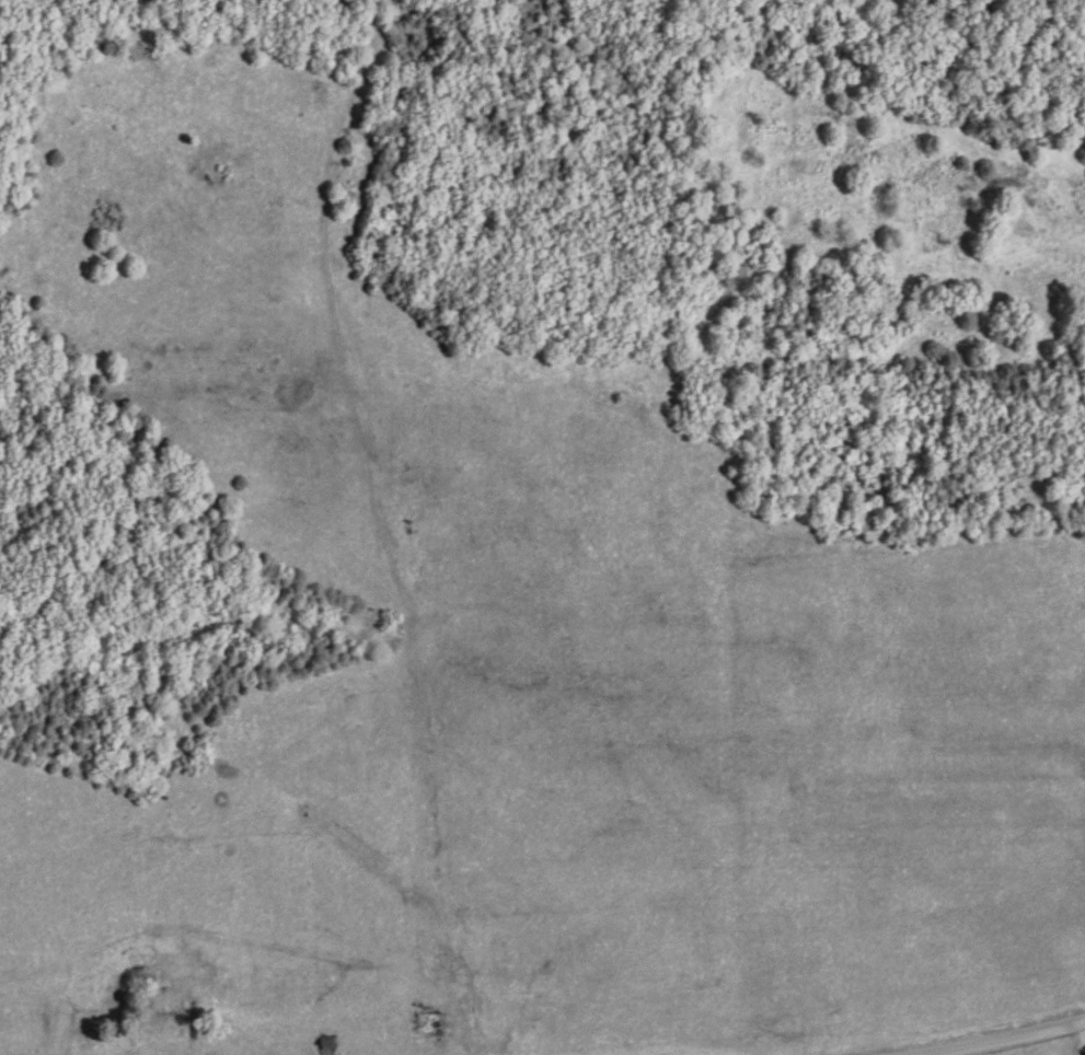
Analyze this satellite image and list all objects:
road: (974, 1031)

